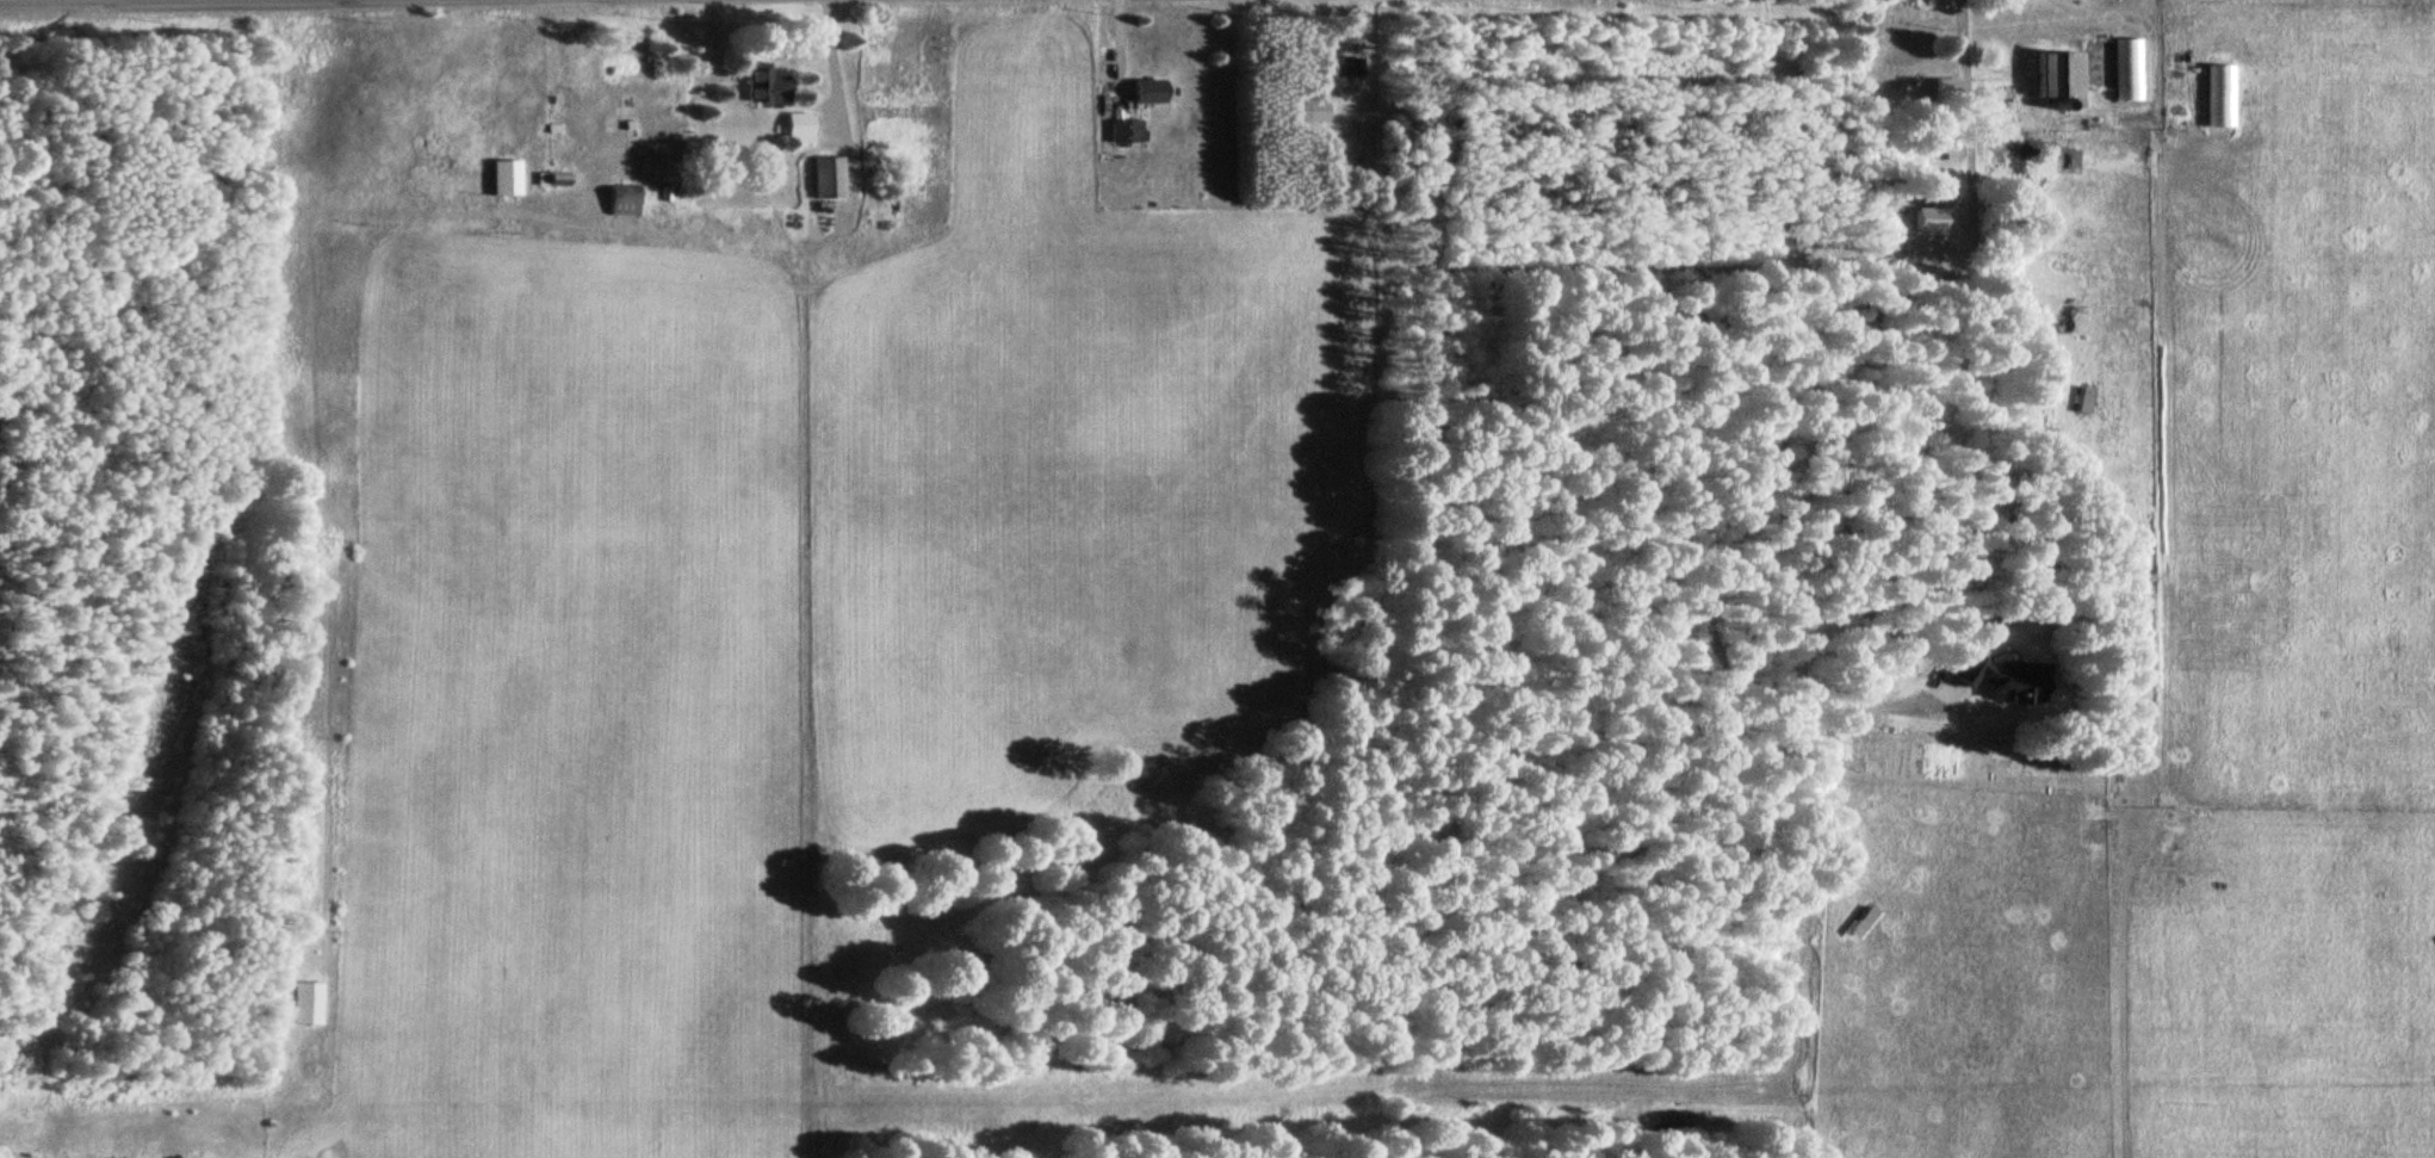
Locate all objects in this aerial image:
building: (1344, 66)
building: (2062, 76)
building: (764, 85)
building: (1944, 91)
building: (1148, 92)
building: (1315, 112)
building: (798, 128)
building: (1122, 131)
building: (504, 178)
building: (826, 178)
building: (622, 202)
crop: (787, 605)
building: (306, 1002)

